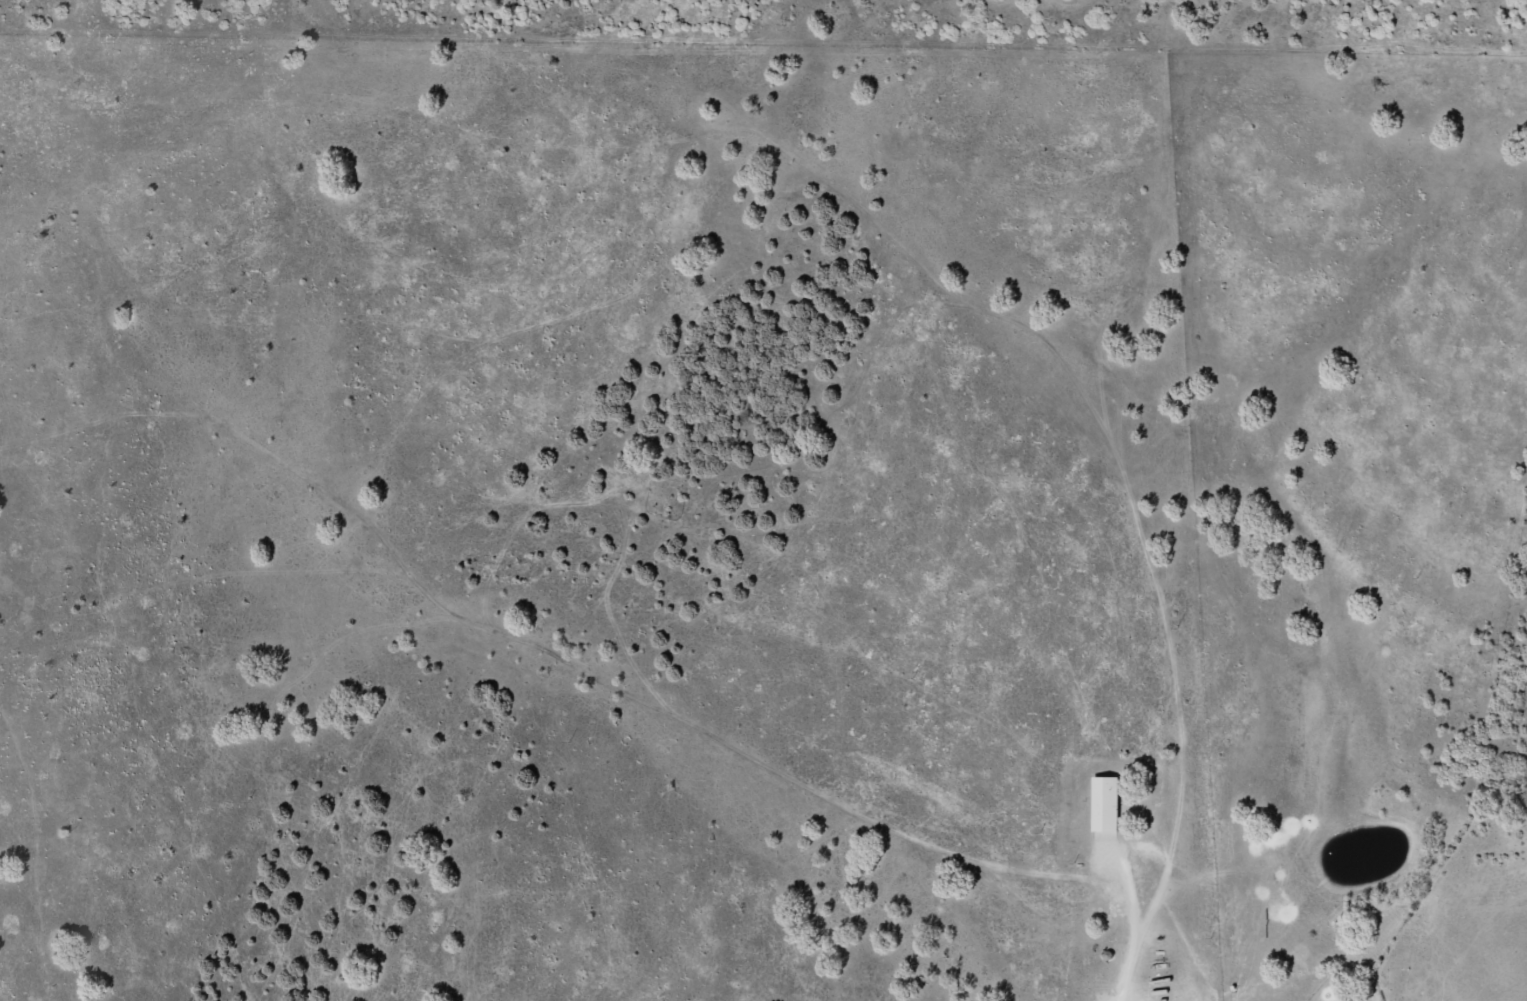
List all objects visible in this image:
building: (1104, 802)

